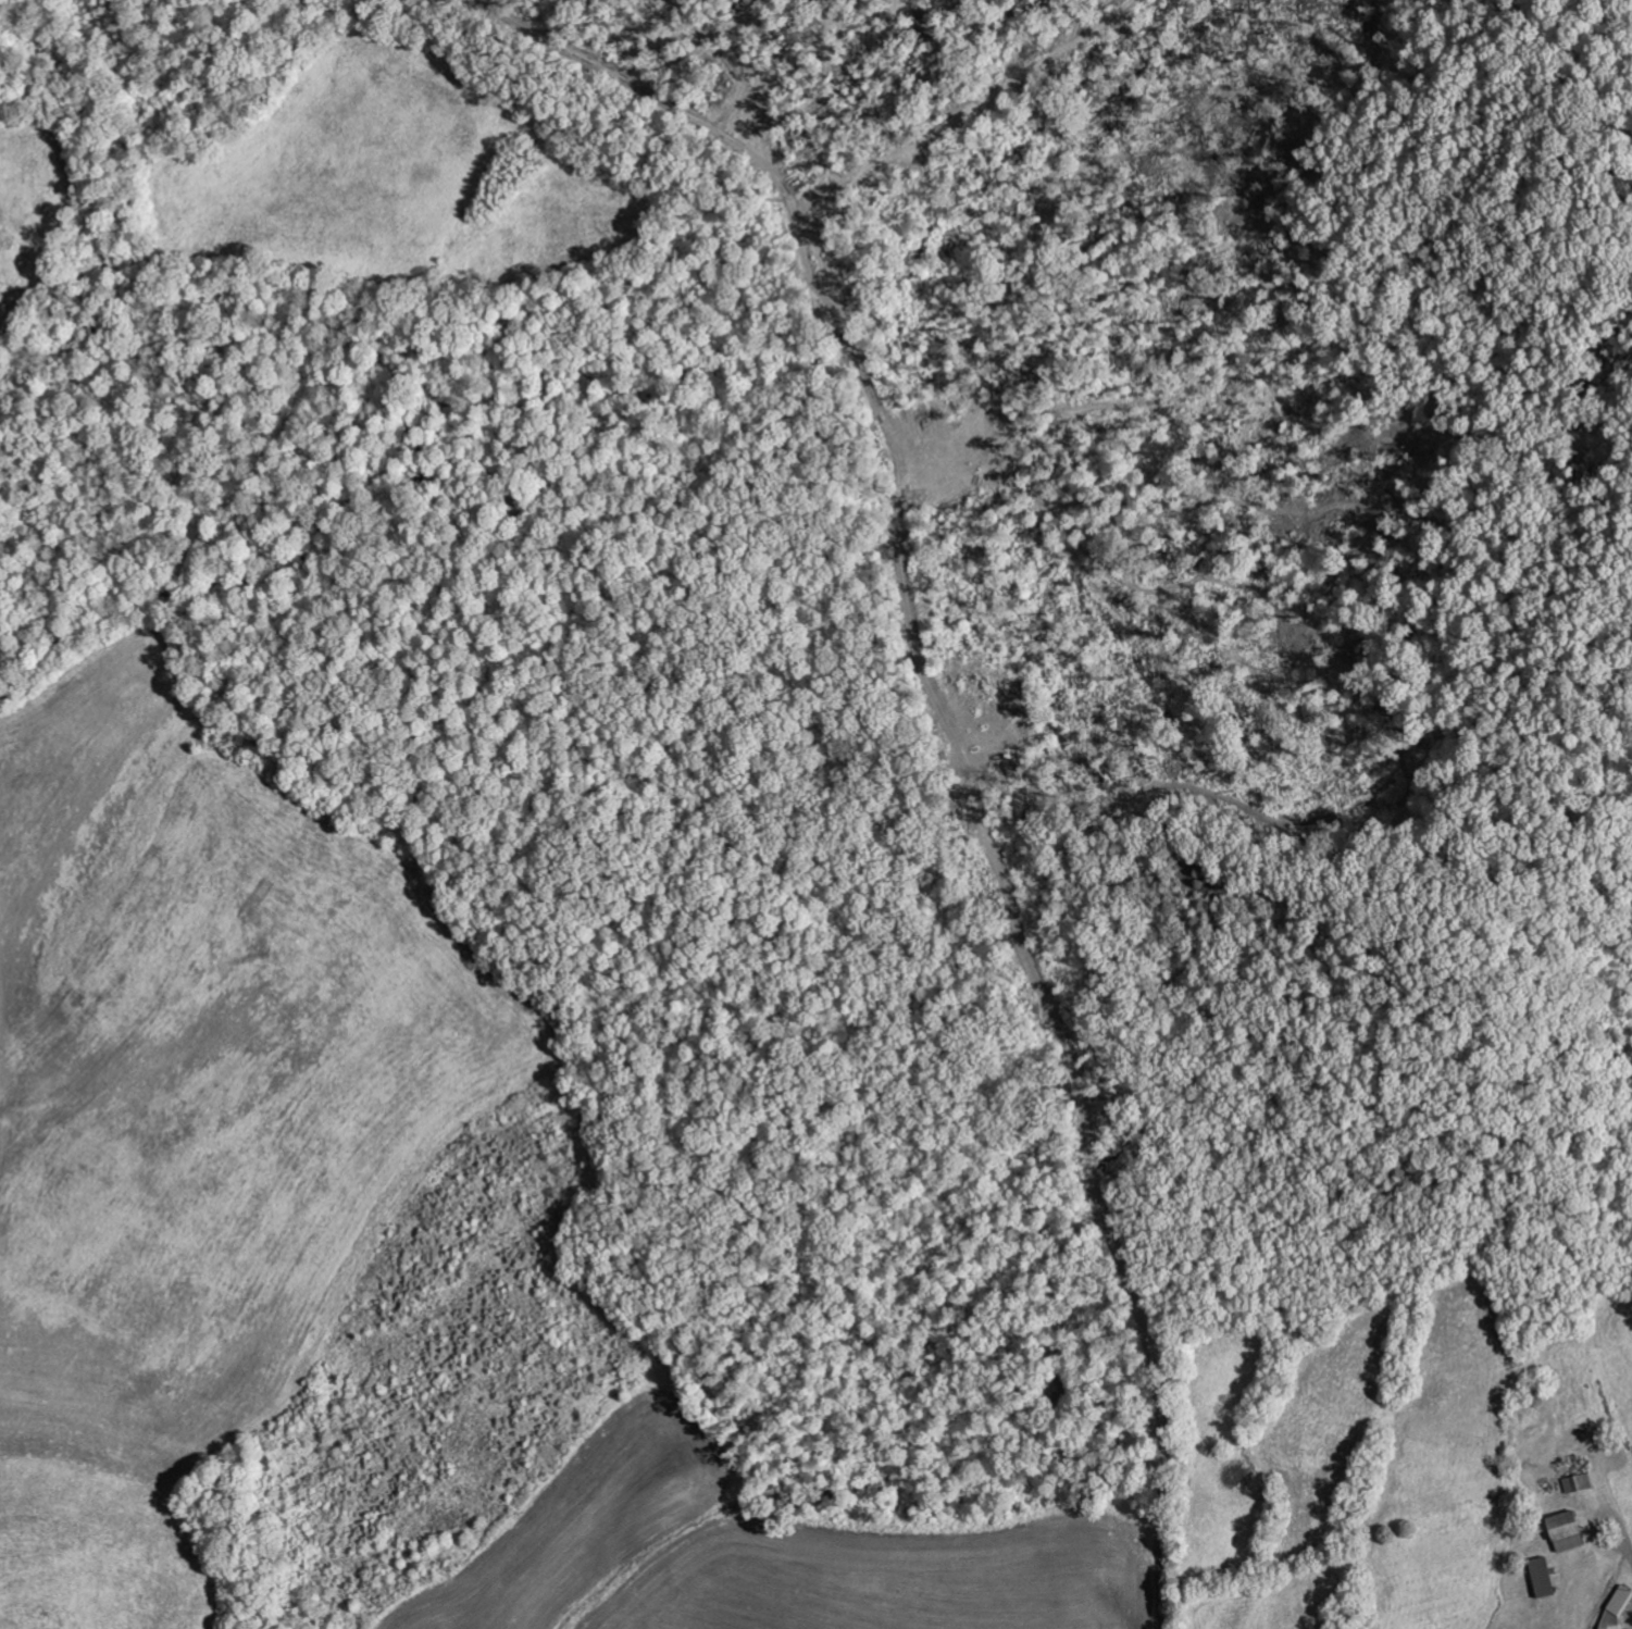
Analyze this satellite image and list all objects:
building: (1574, 1482)
building: (1561, 1530)
building: (1612, 1607)

